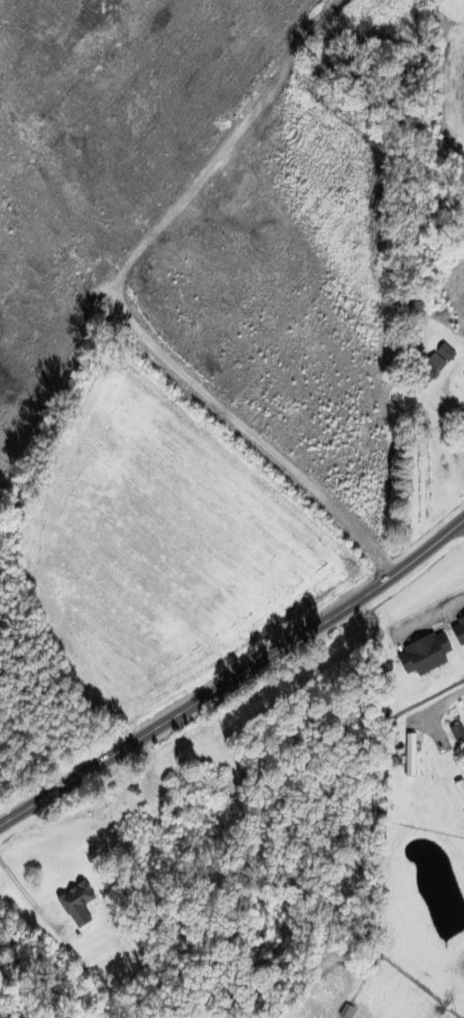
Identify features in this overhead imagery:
building: (454, 0)
building: (430, 364)
building: (456, 628)
building: (420, 651)
road: (235, 675)
building: (407, 753)
building: (459, 791)
building: (71, 902)
road: (32, 905)

